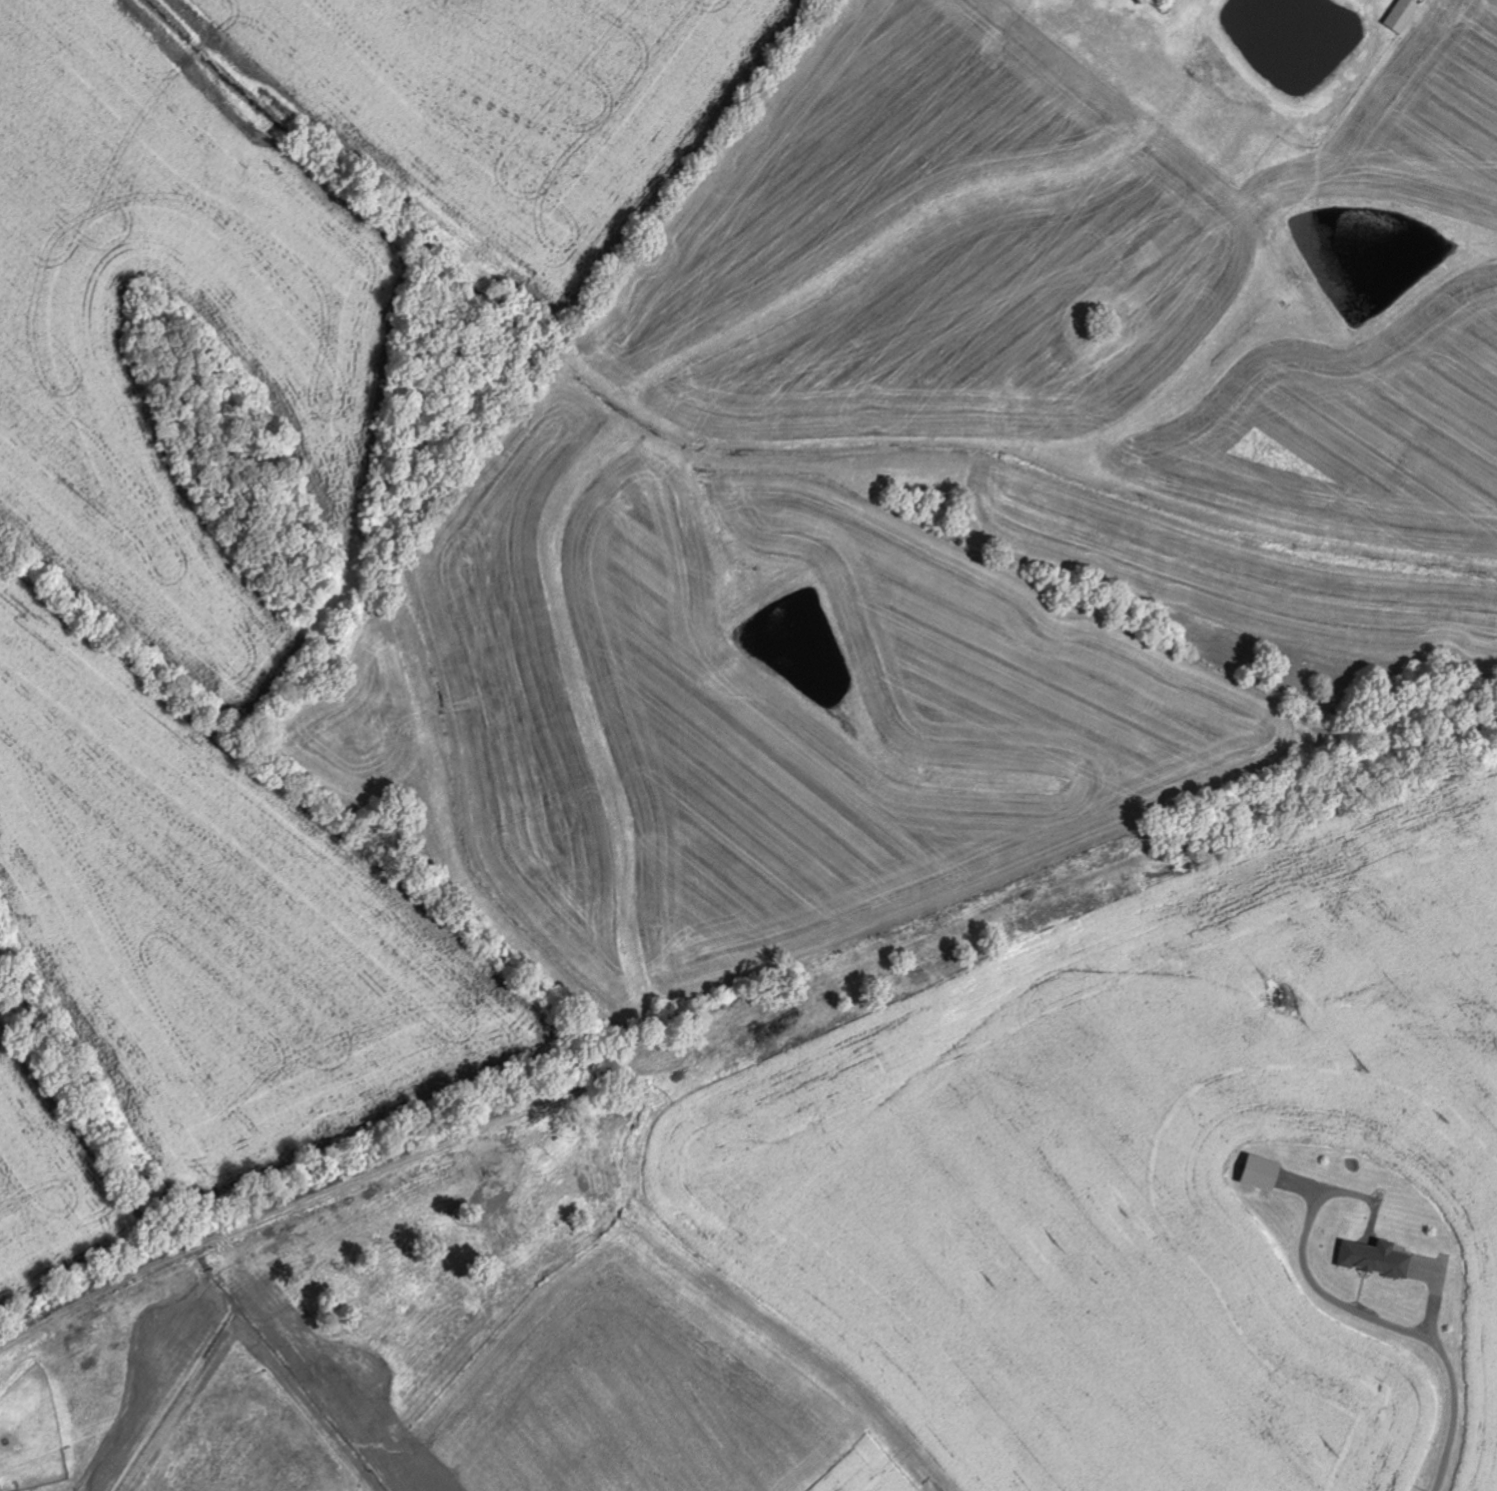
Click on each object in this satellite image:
building: (1403, 16)
building: (1263, 1173)
building: (1377, 1259)
road: (1454, 1382)

